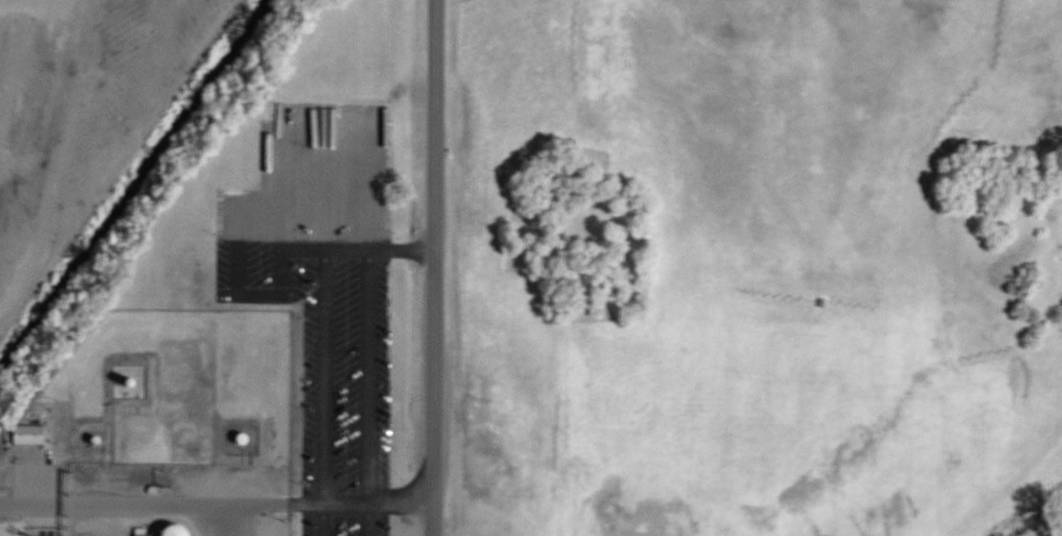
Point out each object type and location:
road: (347, 107)
road: (284, 158)
road: (360, 247)
road: (238, 264)
road: (435, 267)
building: (32, 434)
road: (215, 503)

